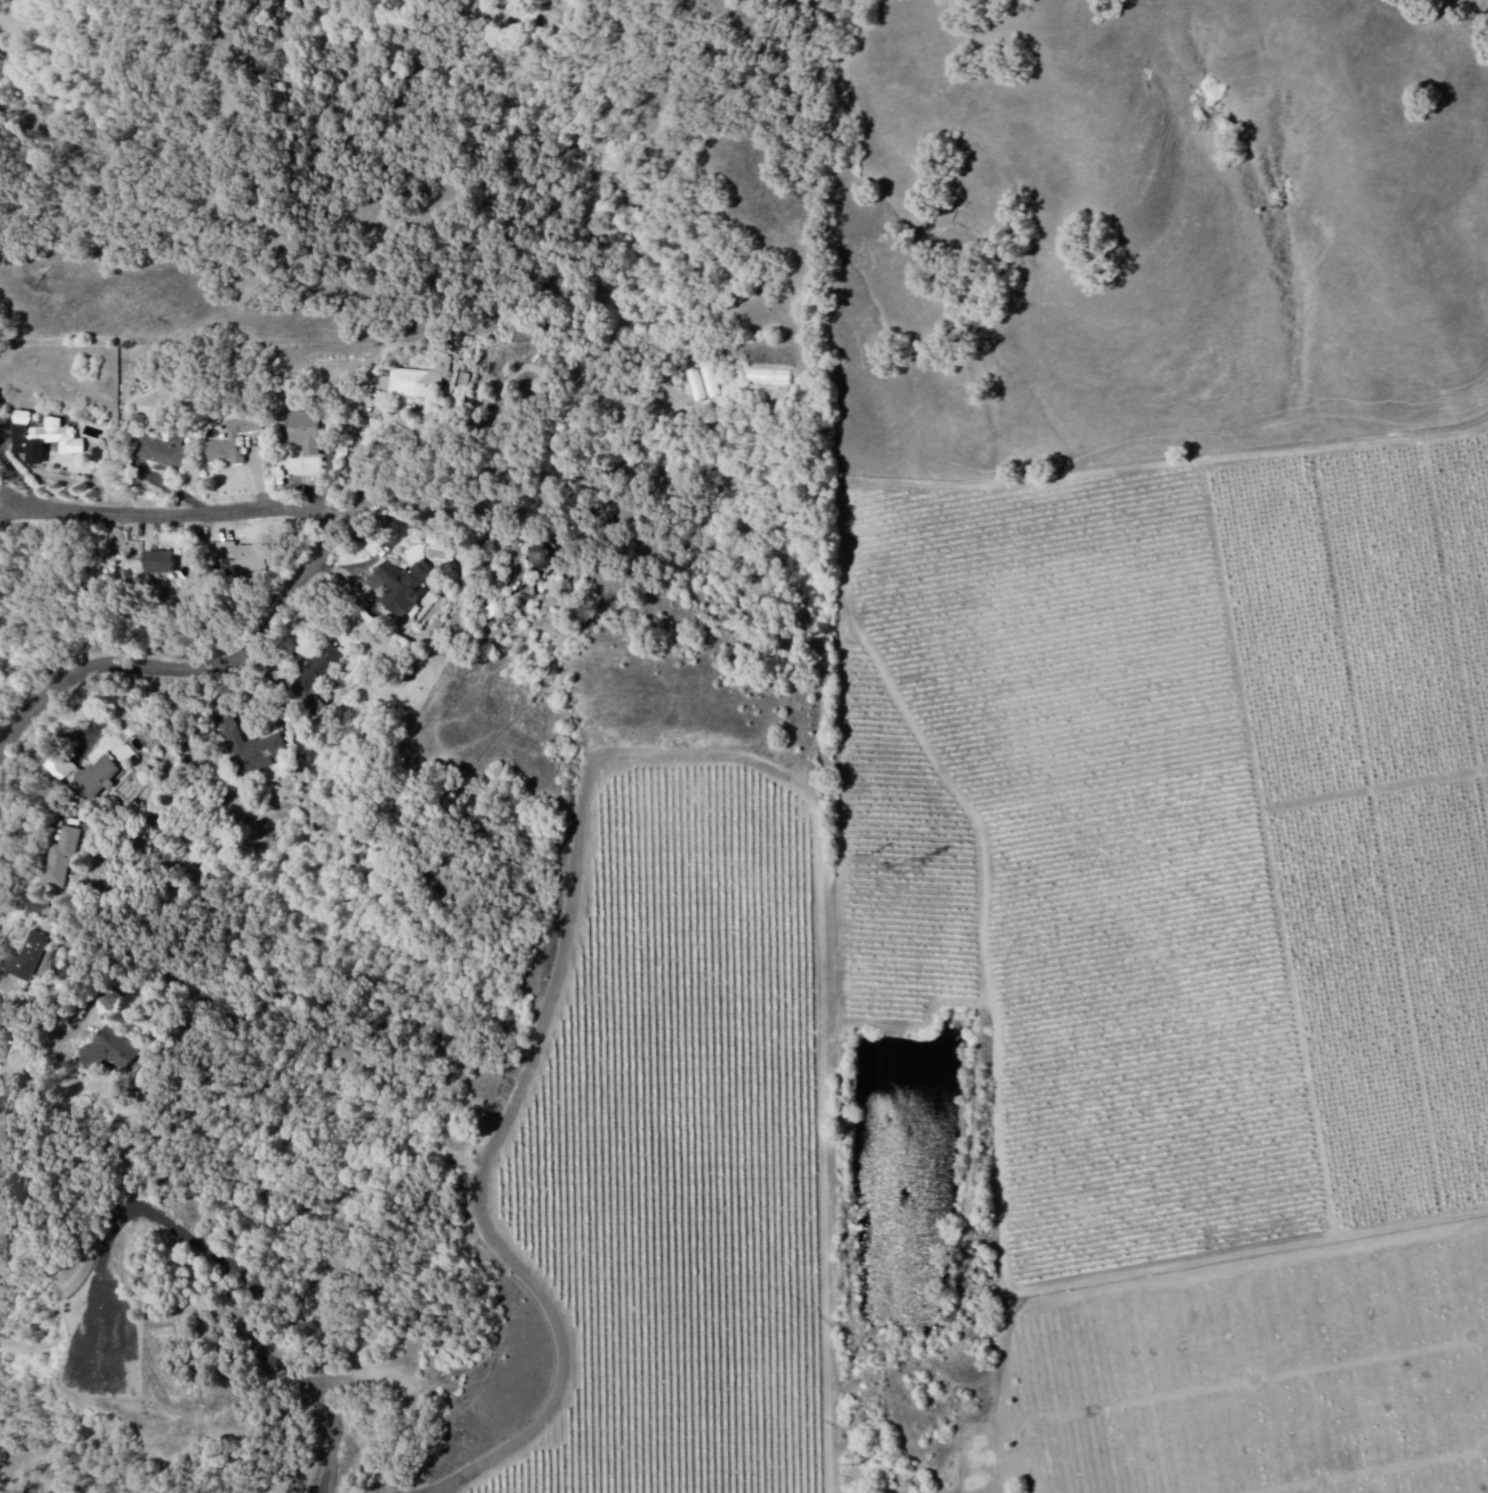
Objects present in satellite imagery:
building: (416, 380)
building: (305, 433)
building: (42, 440)
building: (234, 442)
building: (165, 453)
building: (239, 558)
building: (156, 564)
road: (315, 578)
building: (401, 588)
building: (317, 671)
building: (253, 749)
building: (97, 775)
building: (73, 862)
power tower: (908, 866)
building: (52, 909)
building: (38, 960)
building: (117, 1053)
building: (1, 1133)
building: (2, 1174)
road: (238, 1272)

